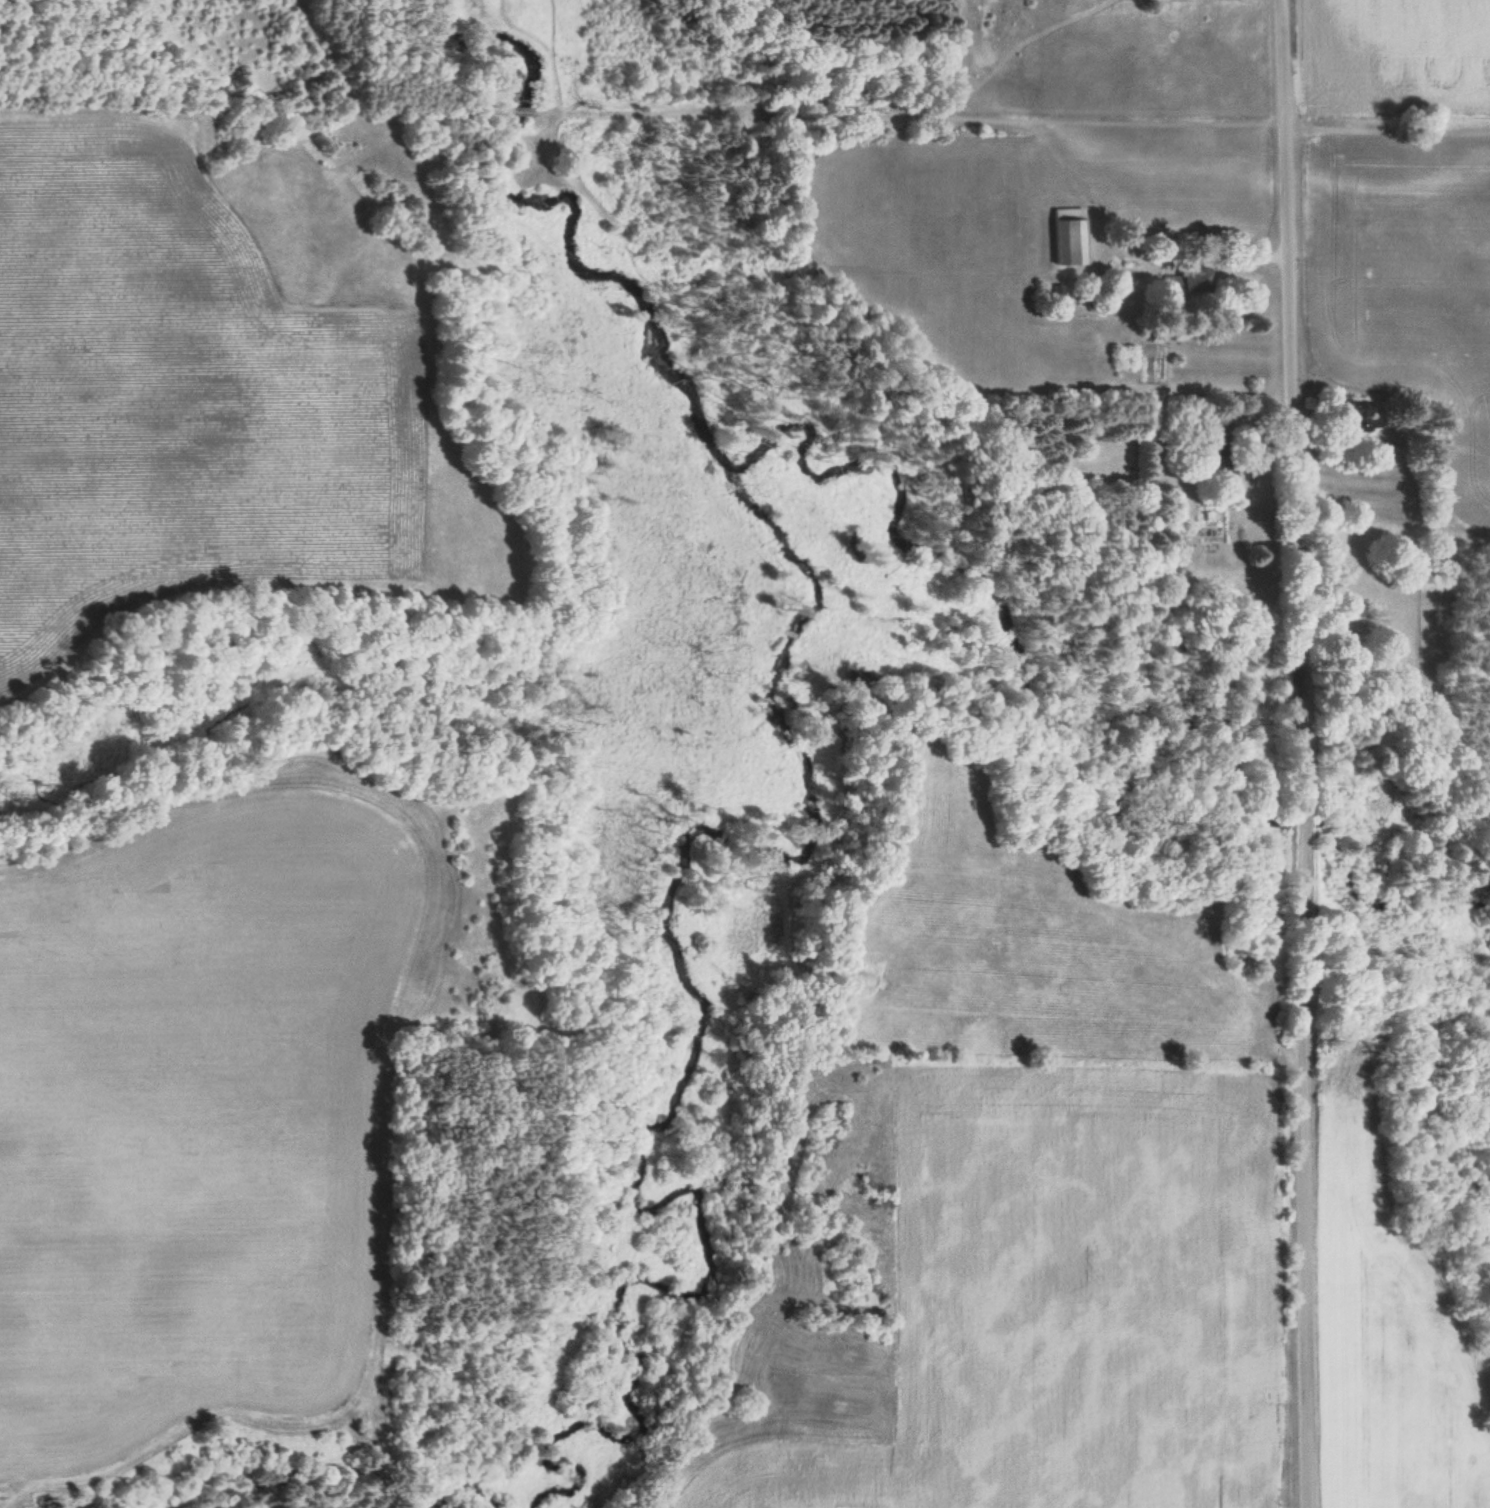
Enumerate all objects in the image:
building: (1070, 237)
building: (1173, 269)
building: (1354, 407)
building: (1222, 463)
road: (1301, 753)

